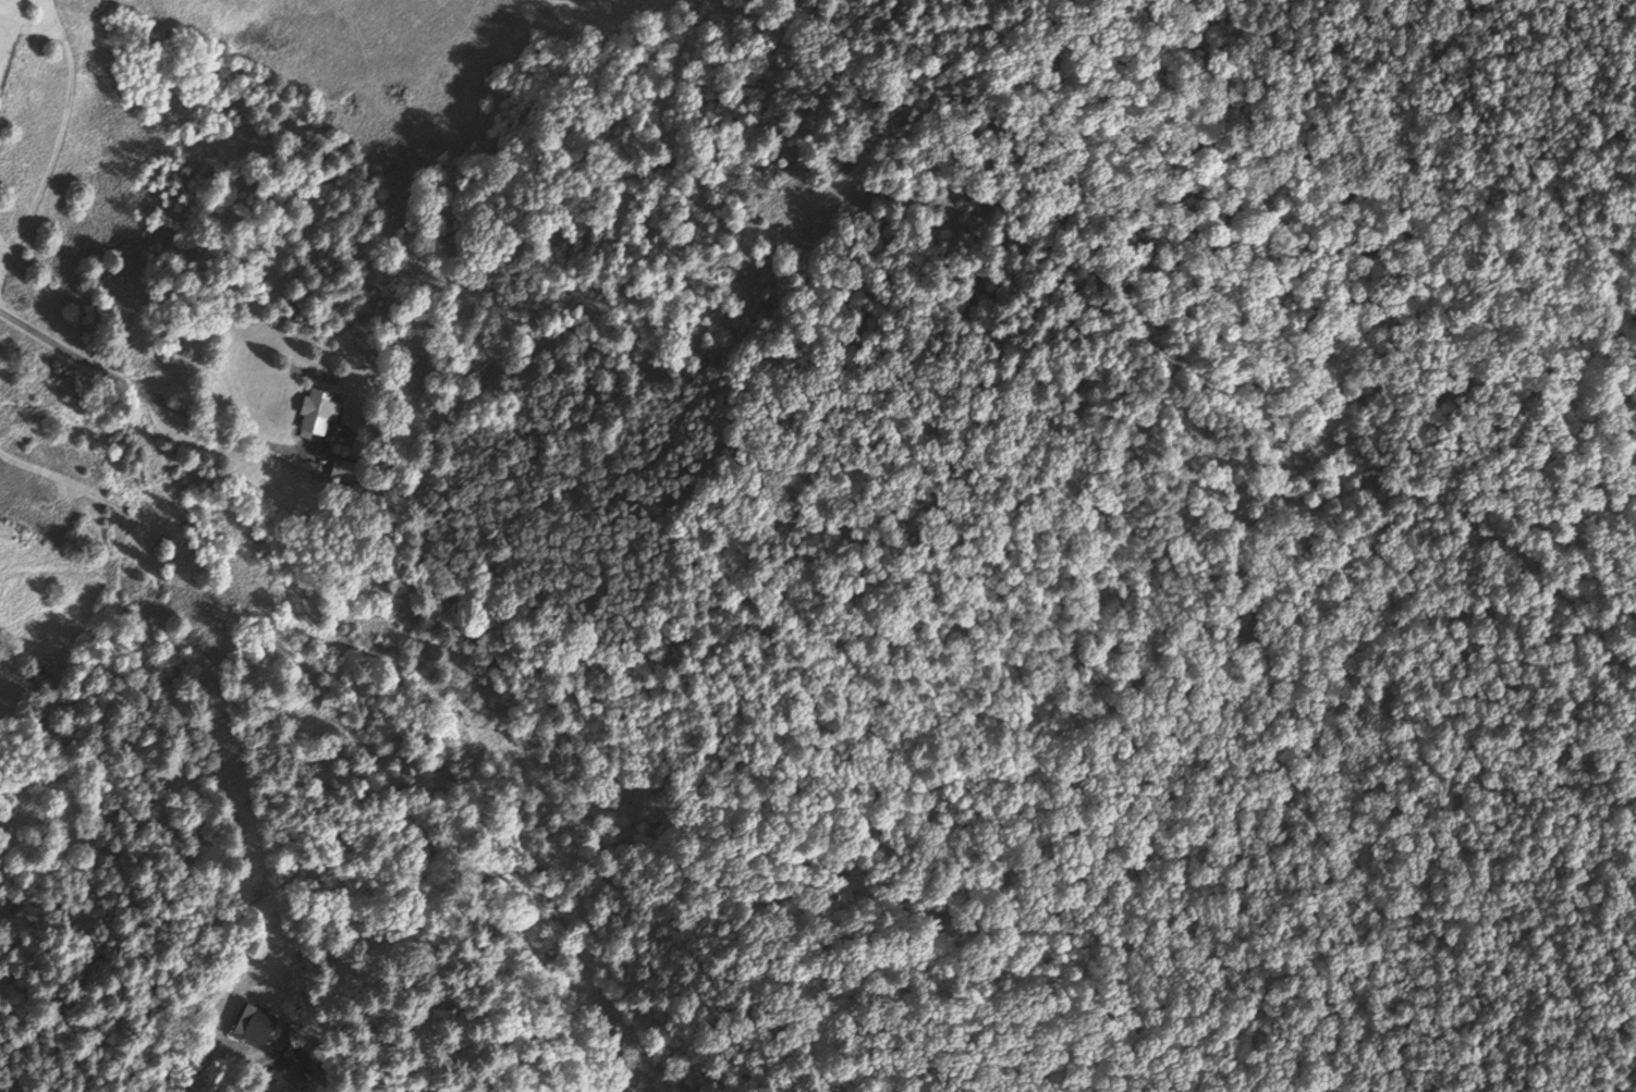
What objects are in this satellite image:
road: (142, 393)
building: (317, 409)
building: (344, 471)
building: (252, 1024)
road: (248, 1070)

